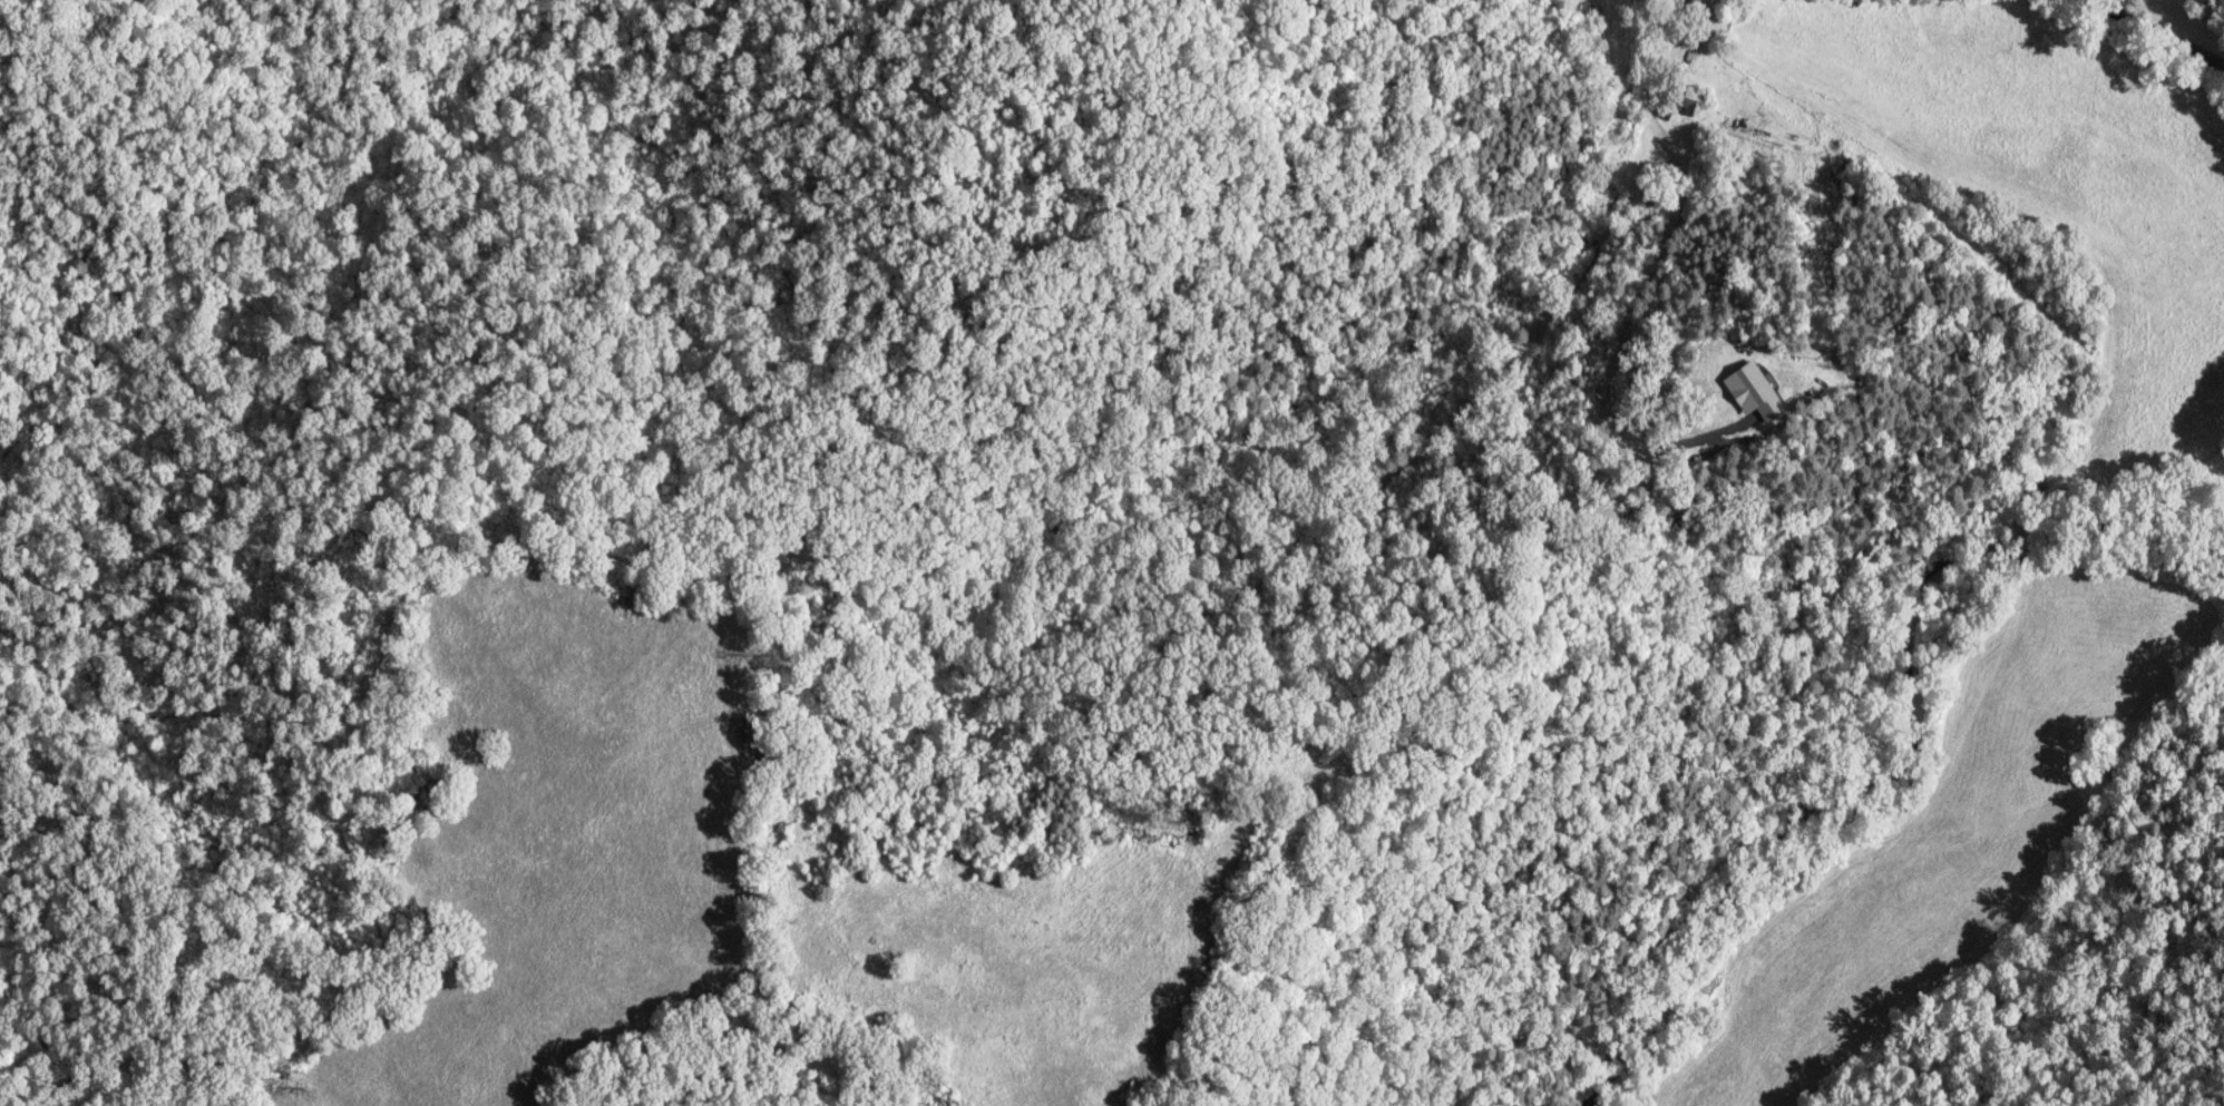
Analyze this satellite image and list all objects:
road: (2057, 18)
road: (2195, 21)
building: (1757, 393)
road: (2061, 454)

